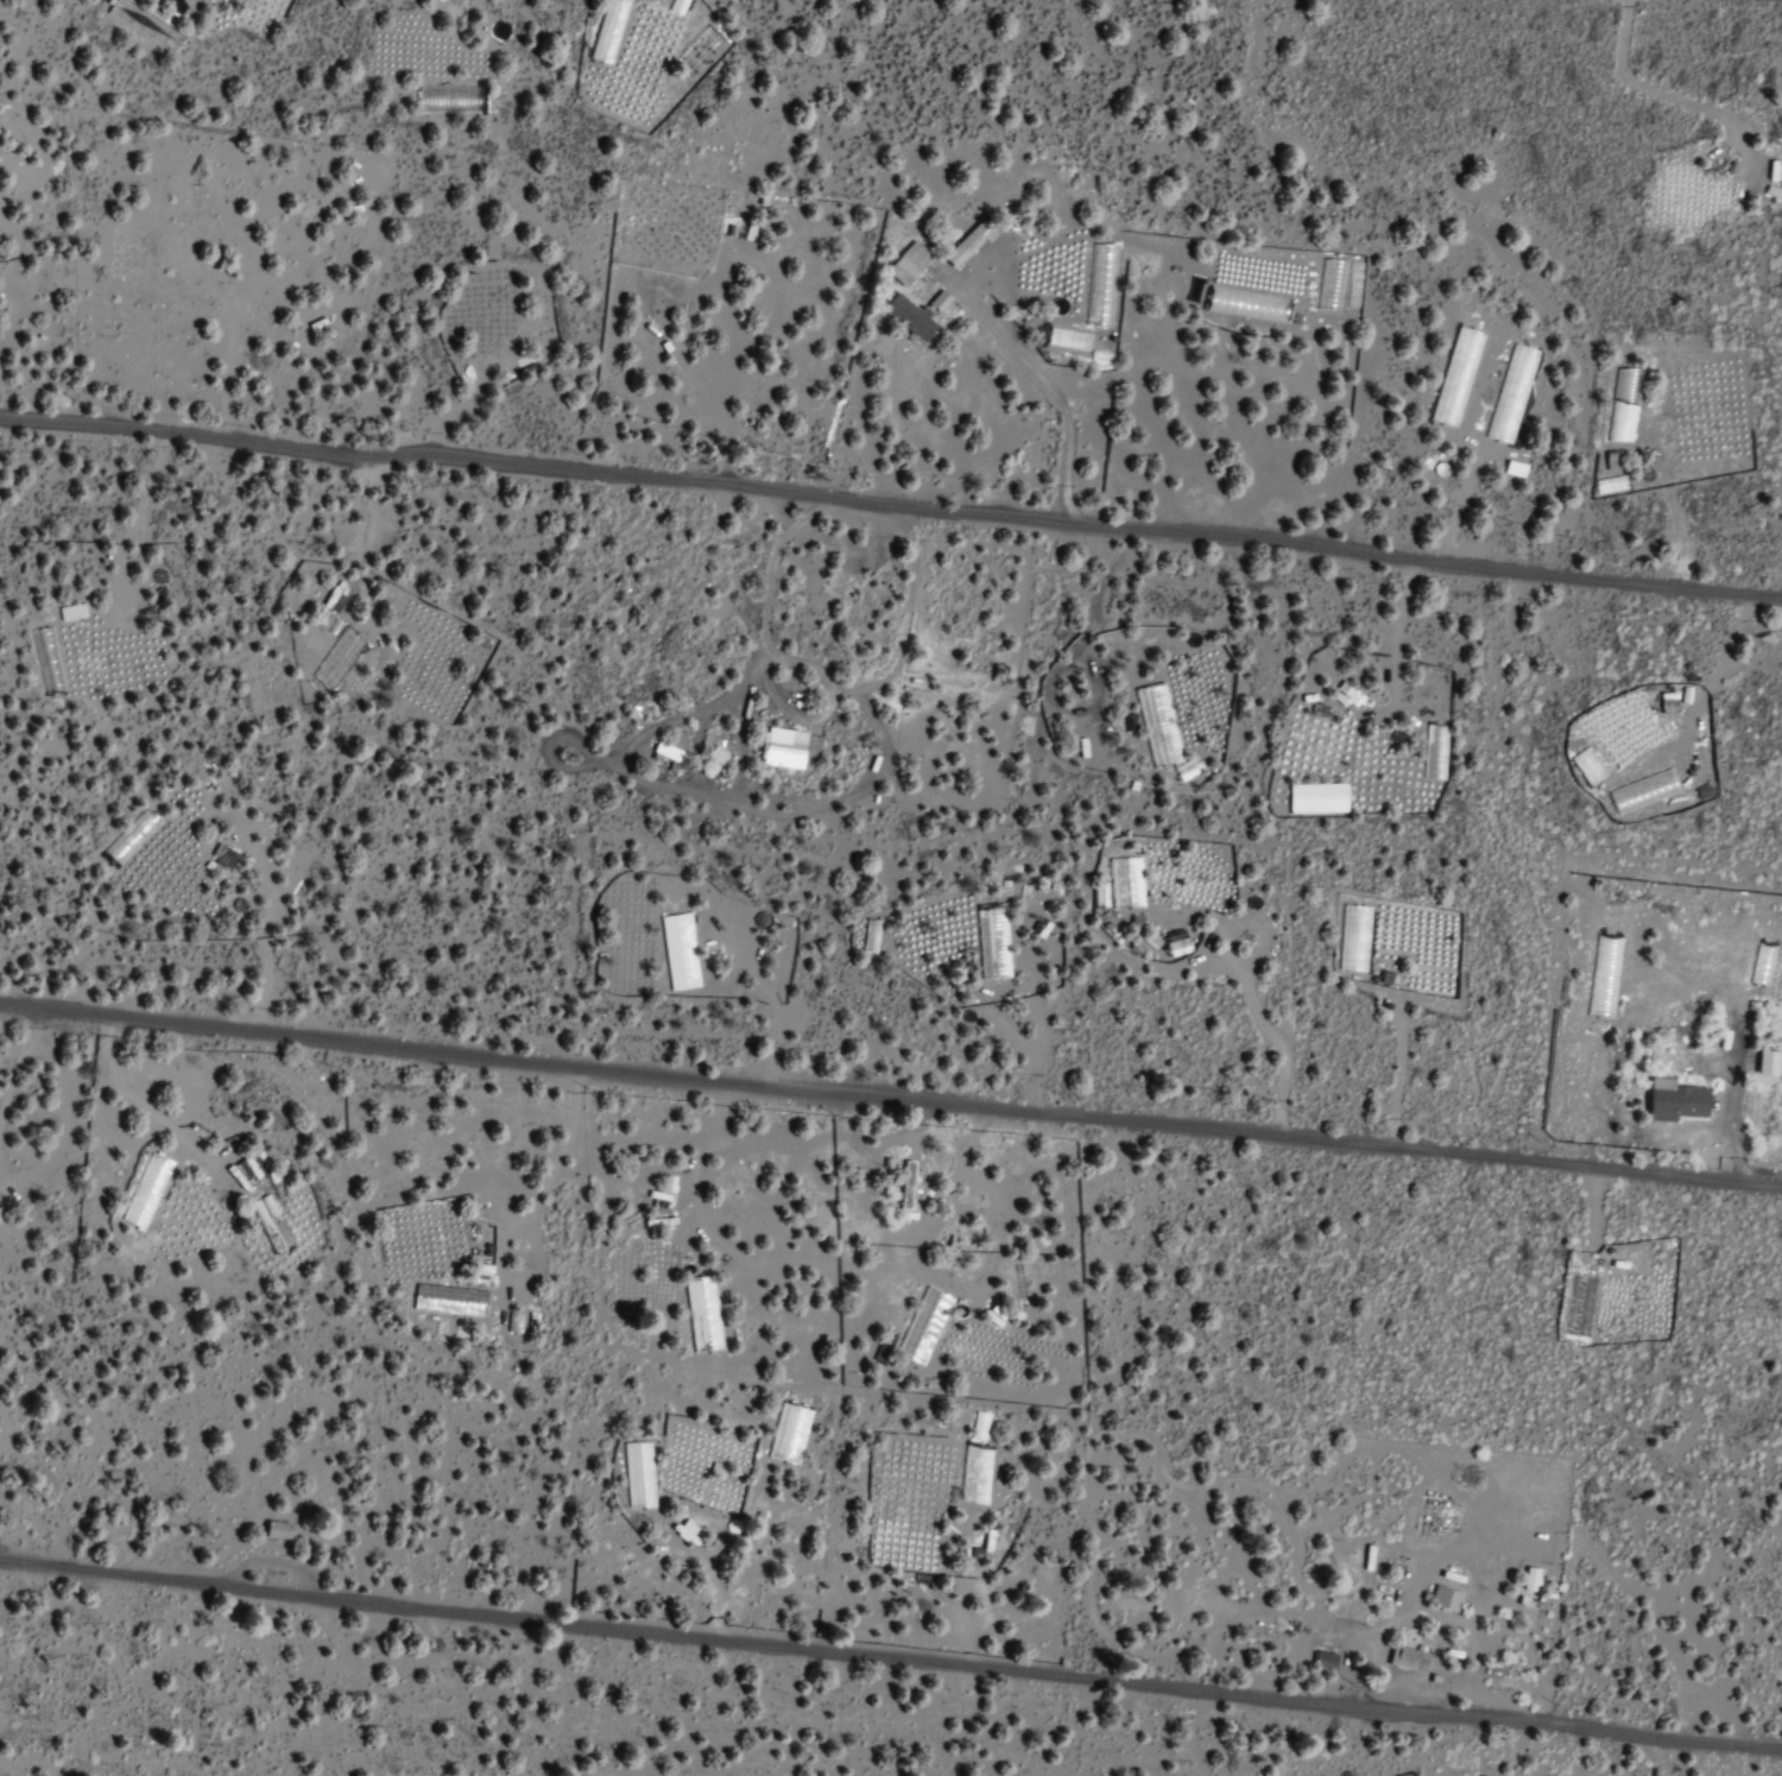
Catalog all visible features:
building: (138, 21)
building: (21, 127)
building: (17, 170)
building: (967, 242)
building: (905, 264)
building: (936, 302)
building: (906, 317)
road: (891, 501)
building: (336, 658)
building: (786, 748)
building: (665, 751)
building: (714, 753)
building: (1764, 1066)
road: (891, 1092)
building: (1672, 1100)
building: (241, 1171)
building: (637, 1474)
building: (273, 1530)
building: (684, 1532)
building: (1528, 1579)
building: (1442, 1599)
road: (890, 1656)
building: (1404, 1656)

